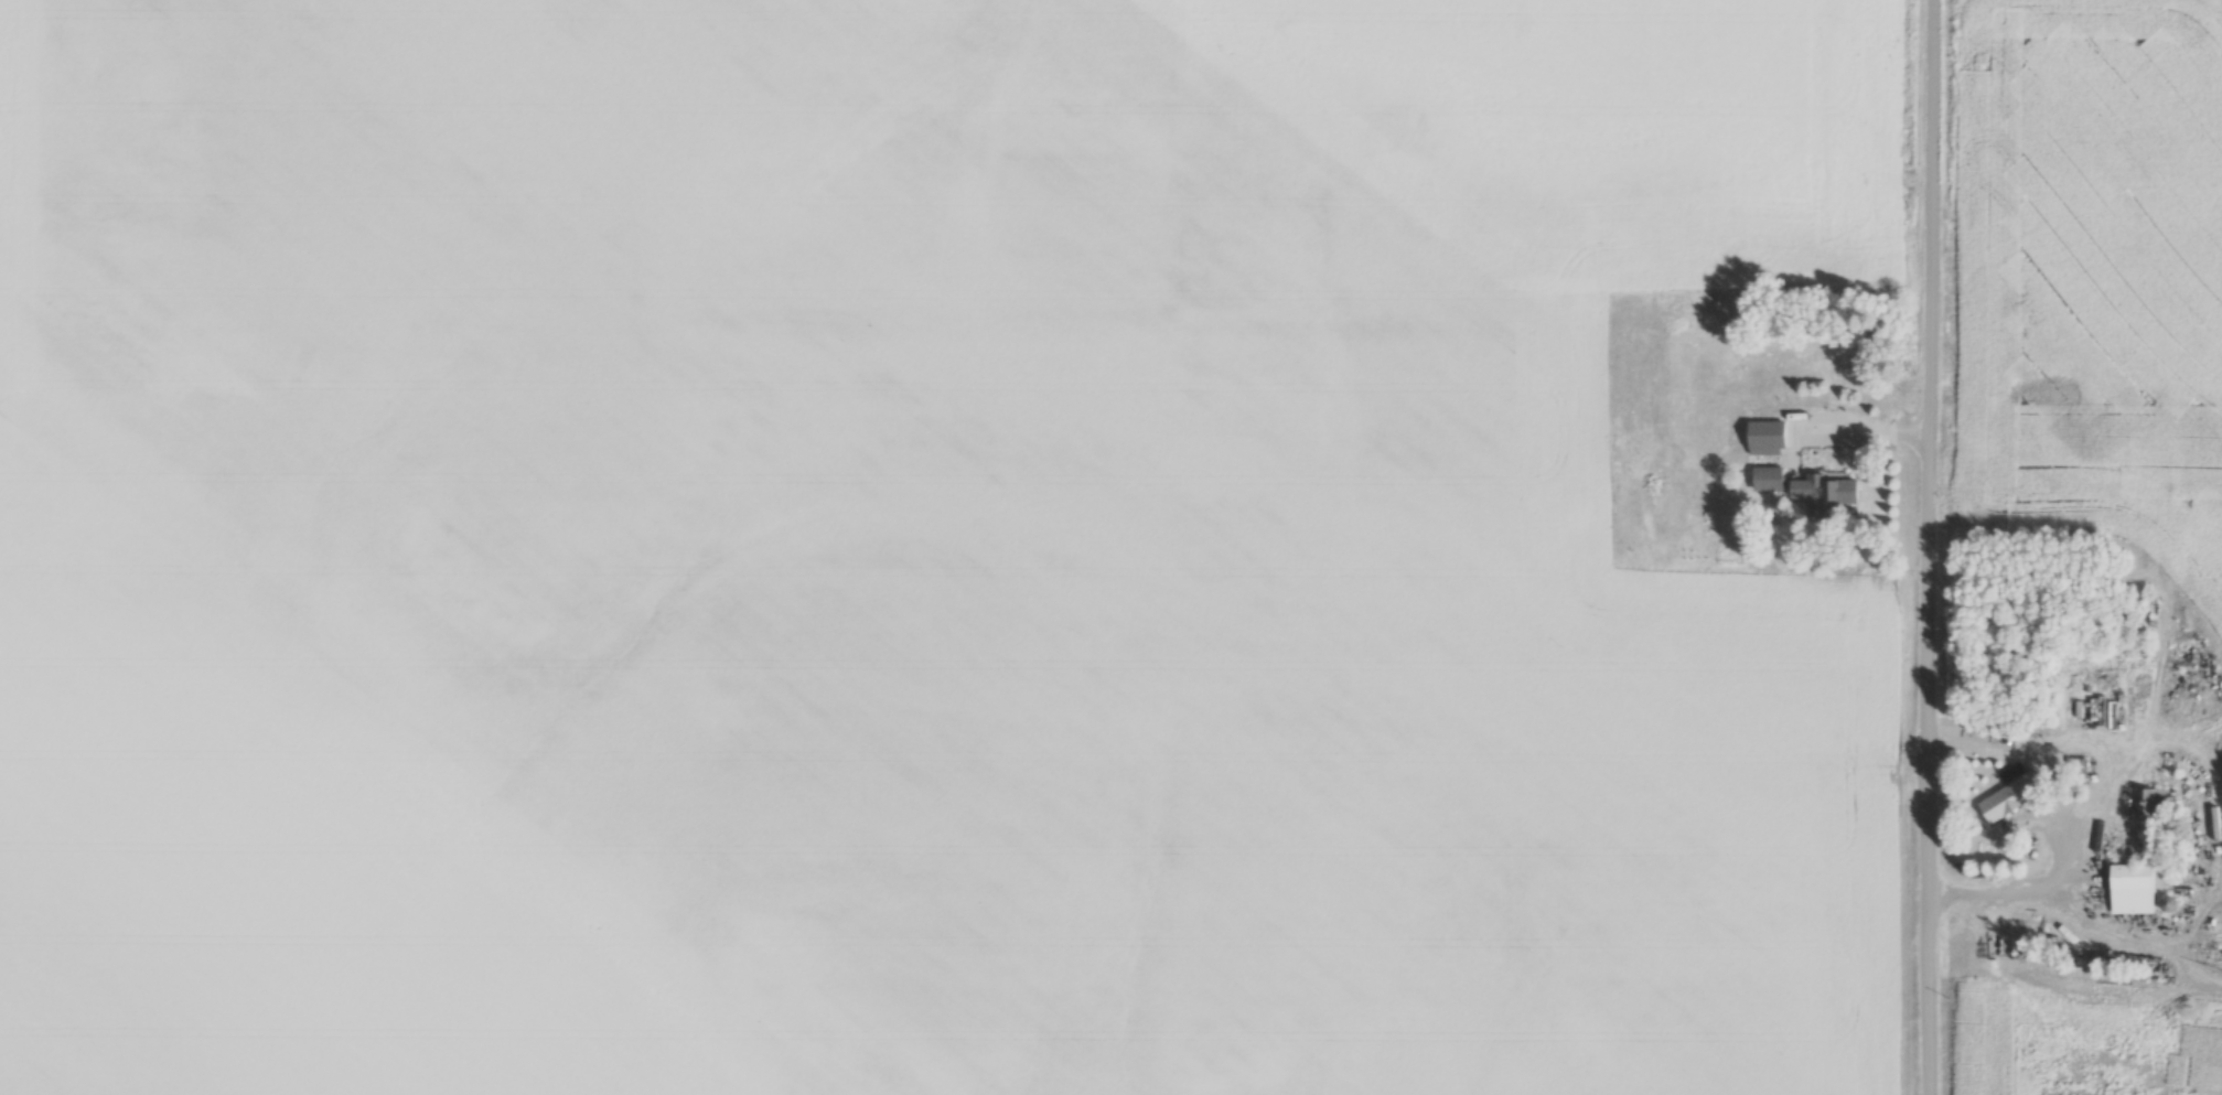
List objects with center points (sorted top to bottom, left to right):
building: (1858, 355)
building: (1760, 382)
road: (1865, 432)
building: (1765, 437)
building: (1767, 477)
building: (1824, 491)
road: (1932, 547)
building: (2100, 697)
road: (2106, 788)
building: (2009, 796)
building: (2150, 801)
building: (2132, 888)

